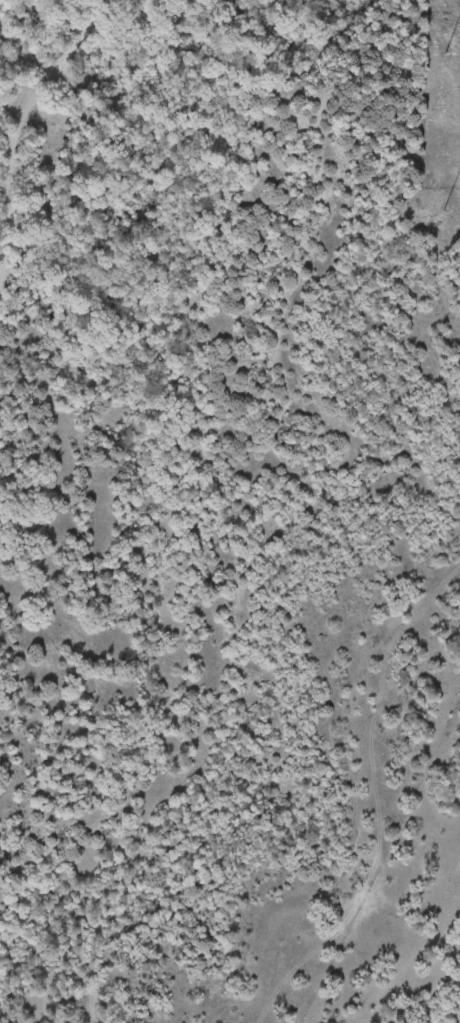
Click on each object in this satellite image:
power tower: (439, 41)
road: (20, 85)
power tower: (436, 193)

